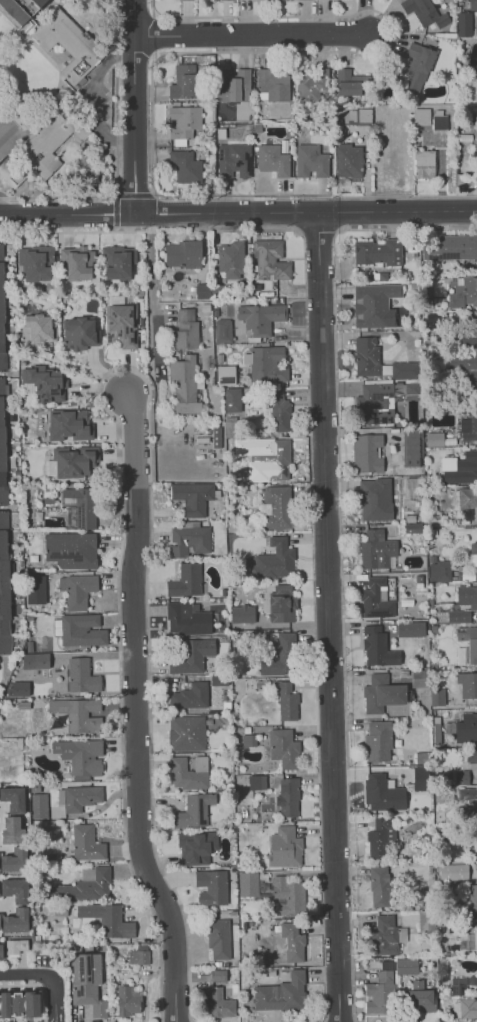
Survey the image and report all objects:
building: (225, 0)
building: (245, 0)
building: (42, 4)
building: (472, 4)
building: (16, 12)
building: (424, 12)
building: (463, 24)
road: (252, 34)
building: (41, 37)
building: (416, 67)
building: (182, 81)
building: (349, 81)
building: (233, 84)
building: (273, 86)
building: (309, 86)
road: (134, 106)
building: (358, 115)
building: (439, 122)
building: (182, 123)
building: (272, 159)
building: (233, 160)
building: (310, 161)
building: (348, 161)
building: (46, 165)
building: (184, 166)
road: (68, 213)
road: (306, 213)
building: (452, 247)
building: (375, 251)
building: (183, 253)
building: (230, 259)
building: (270, 260)
building: (37, 261)
building: (118, 261)
building: (75, 262)
building: (202, 290)
building: (464, 295)
road: (150, 297)
building: (373, 303)
building: (260, 318)
building: (431, 321)
building: (2, 322)
building: (157, 323)
building: (121, 325)
building: (37, 329)
building: (185, 330)
building: (222, 331)
building: (473, 331)
building: (78, 333)
building: (369, 355)
building: (468, 361)
road: (92, 362)
building: (265, 363)
road: (119, 365)
road: (88, 369)
building: (406, 370)
road: (128, 372)
building: (225, 374)
building: (43, 383)
building: (183, 384)
road: (98, 389)
building: (412, 389)
building: (374, 399)
building: (231, 400)
building: (279, 417)
building: (69, 424)
building: (469, 425)
building: (230, 427)
road: (114, 432)
building: (436, 439)
building: (2, 446)
building: (414, 448)
road: (117, 453)
building: (368, 453)
building: (446, 455)
building: (275, 459)
building: (70, 461)
building: (472, 466)
road: (309, 476)
building: (193, 497)
building: (468, 497)
building: (371, 500)
building: (81, 505)
building: (276, 509)
building: (413, 528)
building: (476, 530)
building: (188, 540)
building: (70, 549)
building: (474, 549)
building: (377, 550)
road: (340, 555)
building: (273, 560)
building: (440, 570)
building: (185, 580)
building: (4, 587)
building: (35, 589)
building: (77, 590)
building: (468, 597)
building: (376, 598)
building: (280, 603)
building: (241, 614)
building: (453, 615)
road: (328, 617)
building: (187, 618)
building: (78, 629)
building: (412, 629)
building: (251, 638)
building: (469, 641)
building: (374, 645)
building: (192, 656)
building: (279, 657)
building: (34, 660)
building: (81, 675)
building: (423, 676)
building: (468, 685)
building: (18, 689)
building: (383, 693)
building: (190, 696)
building: (435, 697)
building: (286, 700)
road: (135, 711)
building: (77, 713)
building: (467, 729)
building: (186, 732)
building: (439, 734)
building: (381, 742)
building: (283, 748)
building: (79, 754)
building: (475, 756)
building: (189, 772)
building: (420, 778)
building: (385, 793)
building: (78, 797)
building: (287, 797)
building: (13, 799)
building: (301, 801)
building: (476, 804)
building: (38, 805)
building: (193, 810)
building: (476, 828)
building: (11, 830)
building: (380, 837)
building: (86, 842)
building: (196, 846)
building: (284, 847)
building: (14, 860)
building: (453, 871)
building: (247, 883)
building: (83, 885)
building: (381, 885)
building: (211, 886)
building: (15, 889)
building: (287, 896)
building: (473, 901)
road: (4, 905)
building: (107, 919)
building: (15, 920)
building: (425, 920)
building: (385, 934)
building: (404, 934)
building: (476, 934)
building: (218, 937)
building: (293, 940)
building: (15, 946)
building: (0, 951)
building: (138, 957)
road: (21, 962)
building: (406, 967)
building: (384, 971)
road: (24, 973)
building: (218, 975)
road: (27, 981)
road: (3, 982)
road: (16, 982)
building: (85, 983)
road: (38, 984)
building: (461, 984)
building: (281, 993)
road: (52, 994)
building: (421, 996)
building: (378, 997)
building: (126, 1000)
building: (19, 1004)
building: (216, 1004)
building: (469, 1009)
road: (56, 1017)
road: (52, 1018)

